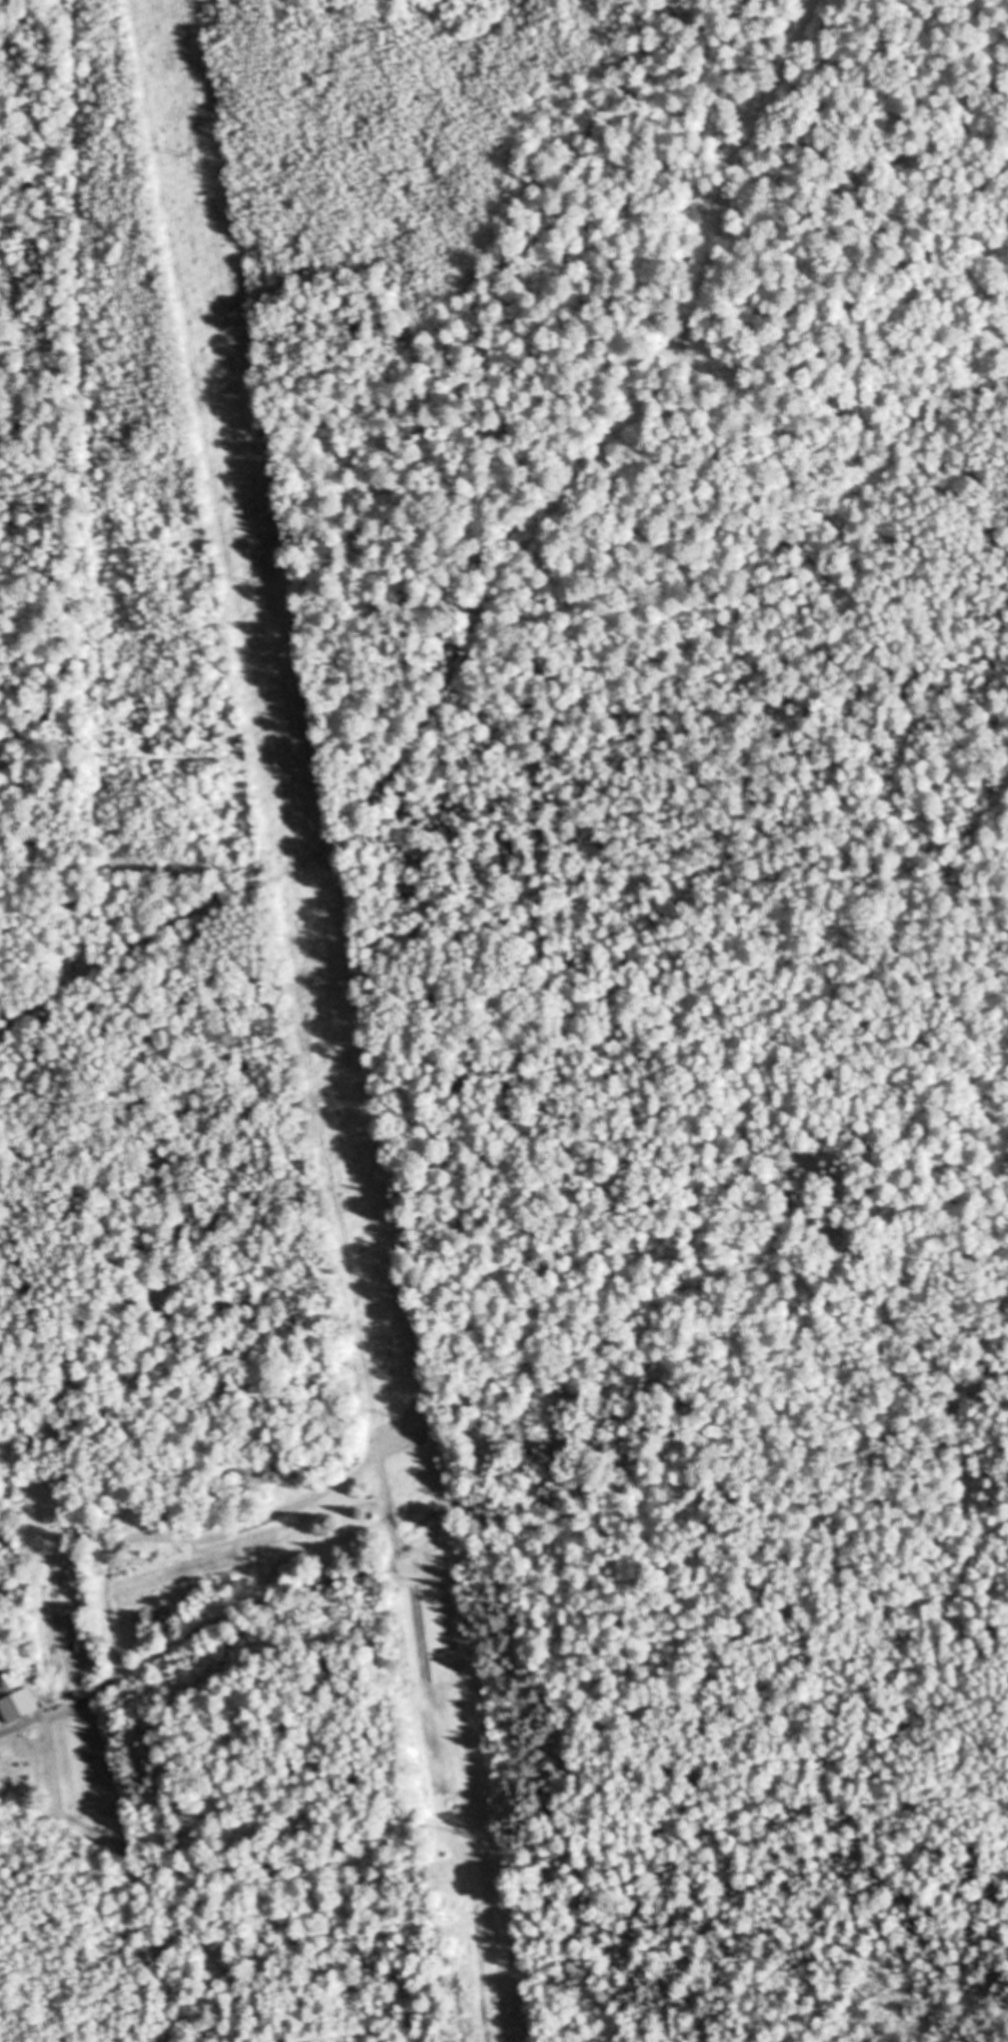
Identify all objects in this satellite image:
road: (501, 598)

